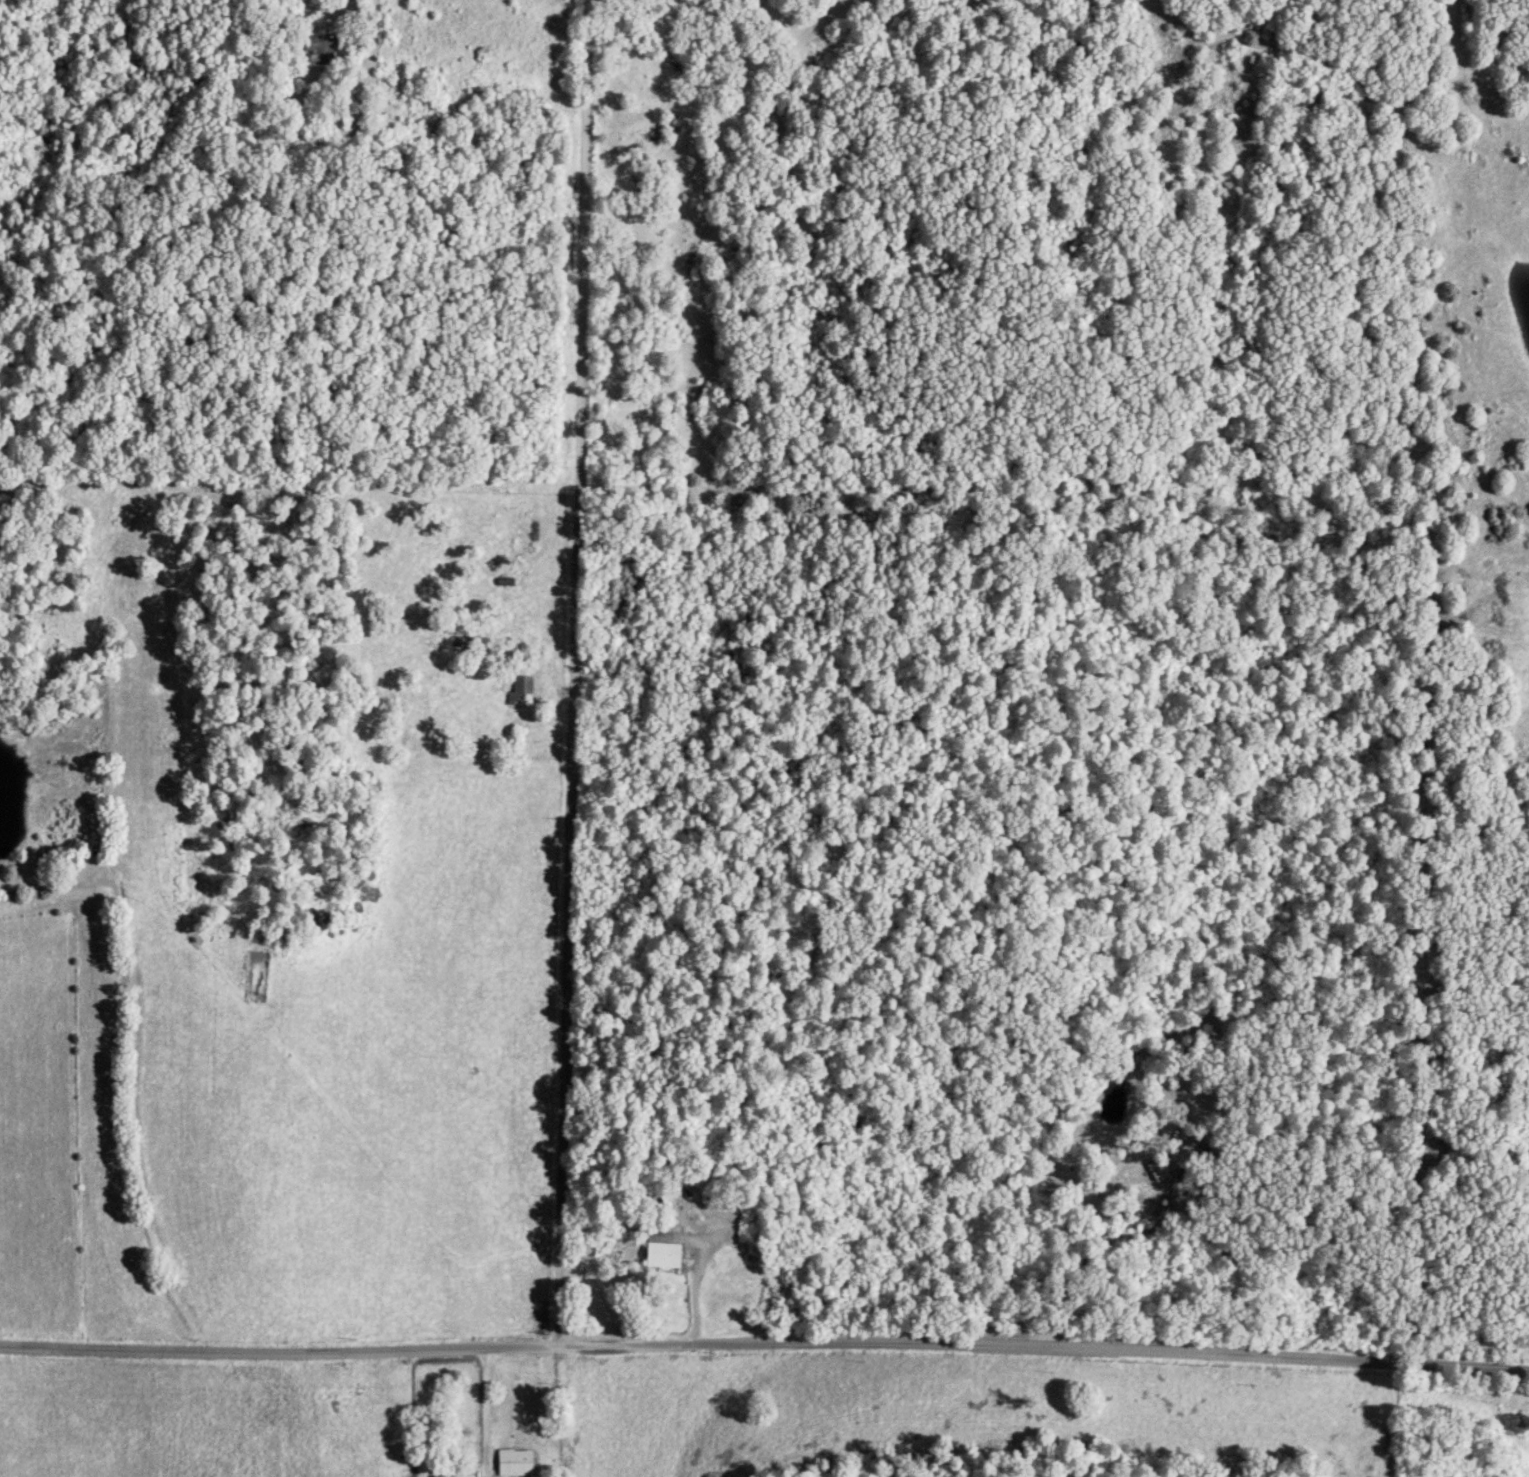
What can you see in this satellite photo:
building: (319, 49)
road: (566, 670)
building: (518, 692)
building: (661, 1250)
road: (694, 1288)
road: (764, 1338)
road: (485, 1415)
building: (513, 1462)
building: (439, 1476)

